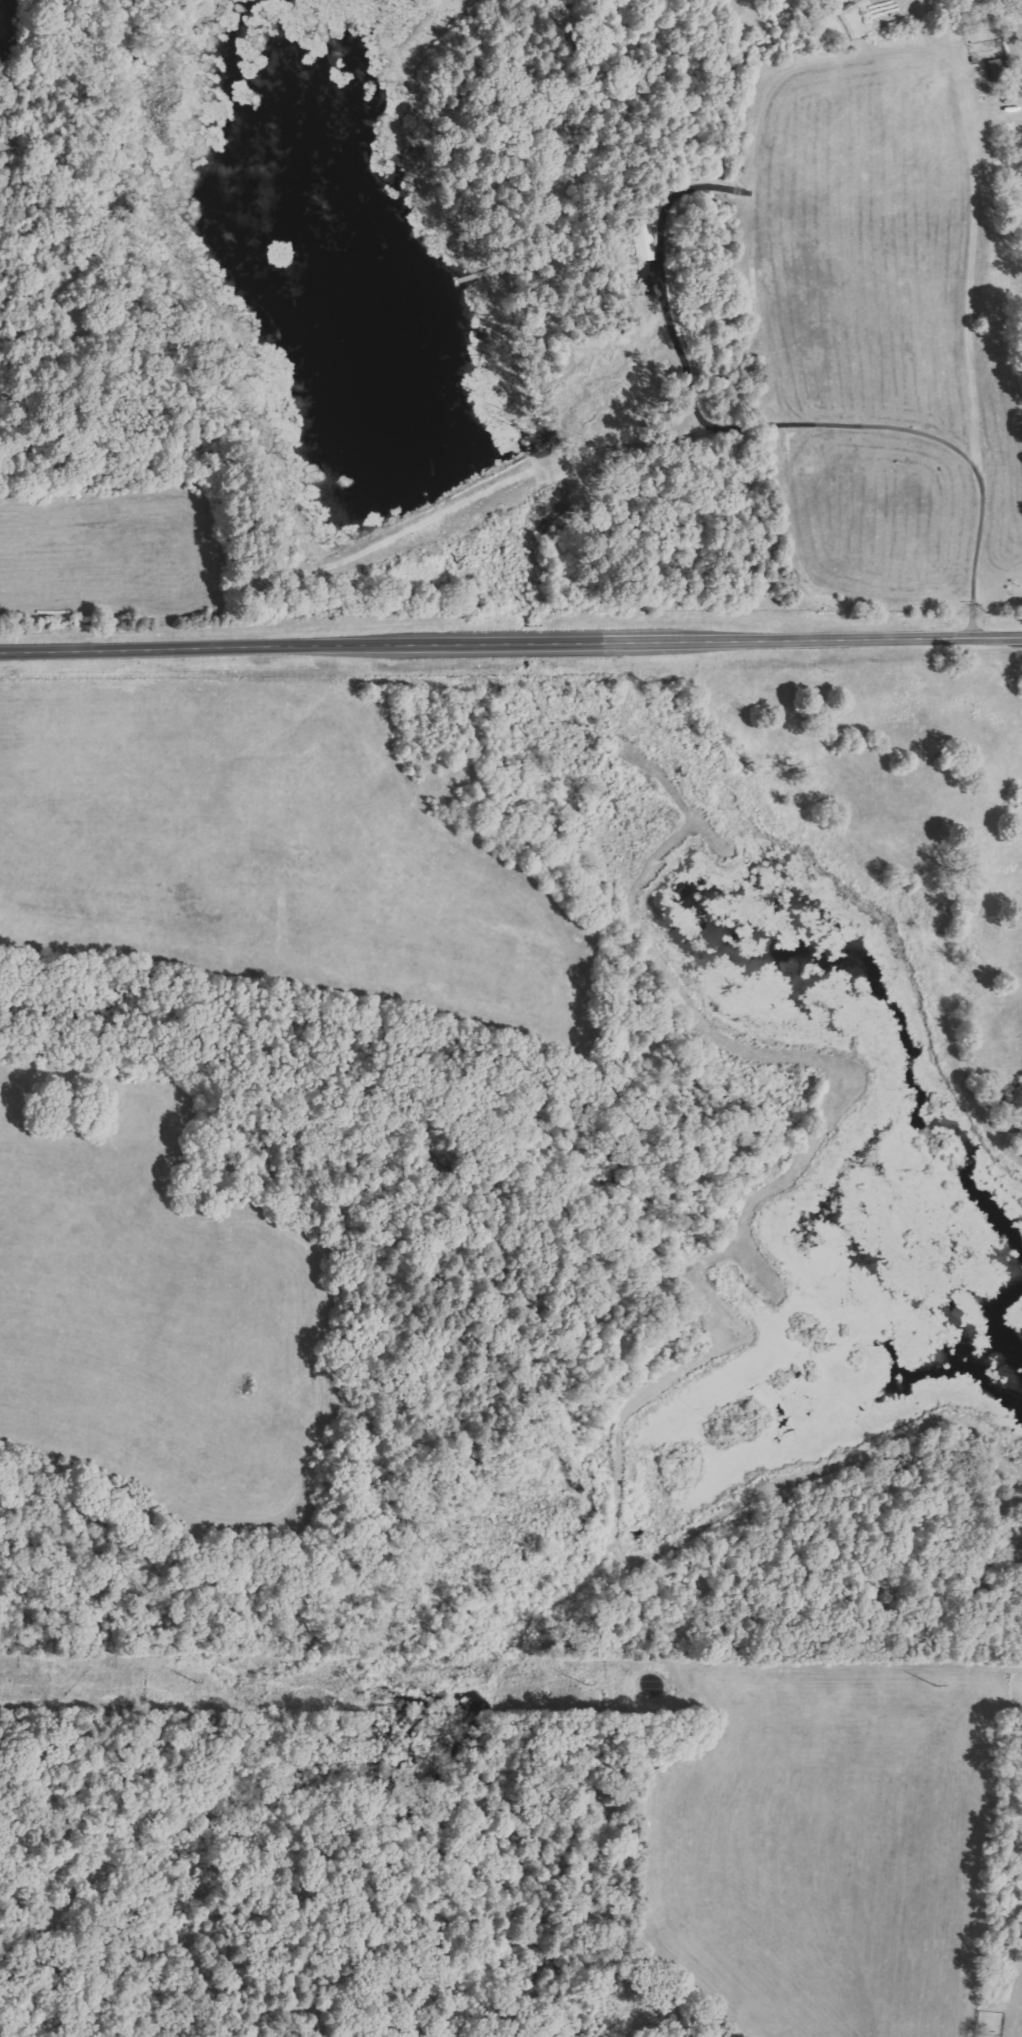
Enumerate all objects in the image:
building: (641, 241)
road: (510, 640)
power tower: (198, 1683)
power tower: (589, 1683)
power tower: (937, 1685)

